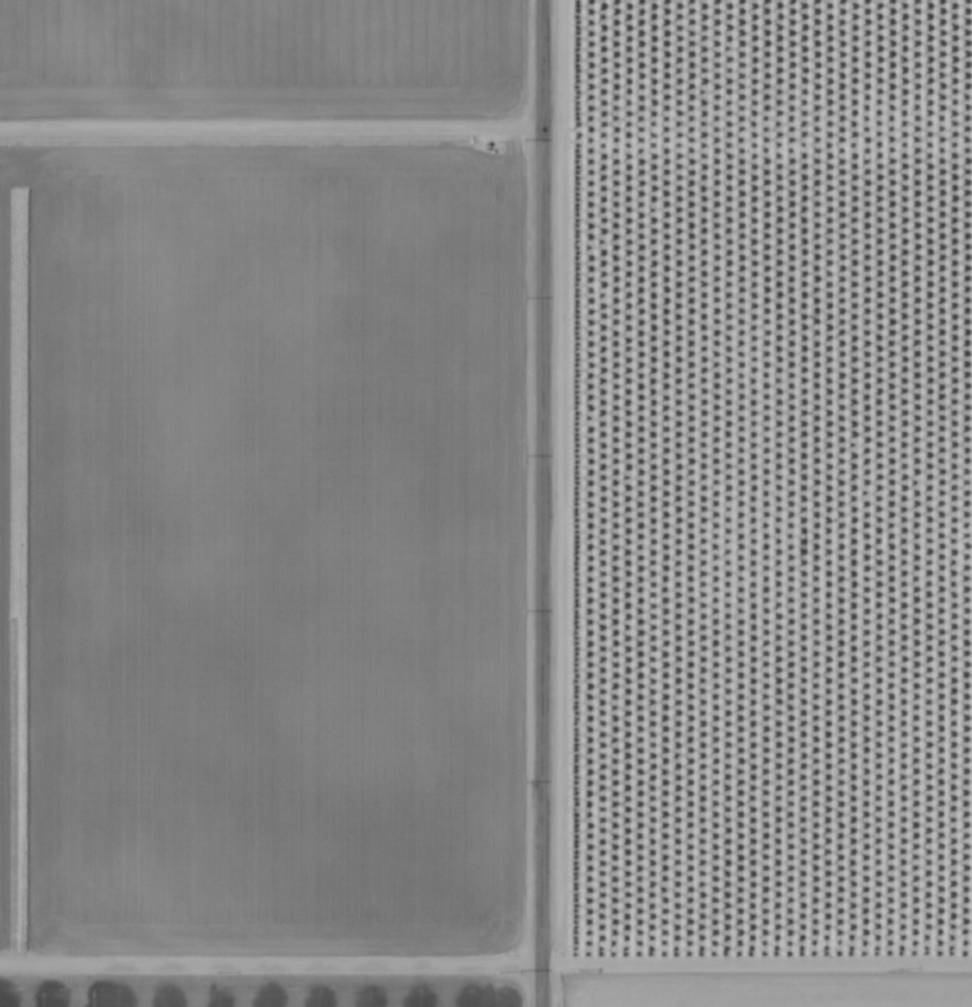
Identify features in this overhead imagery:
road: (540, 503)

